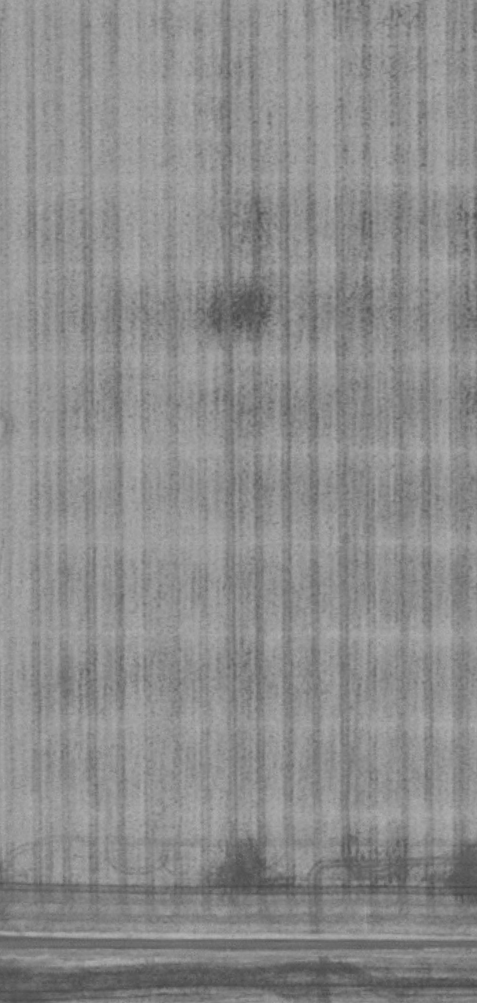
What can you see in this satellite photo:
crop: (238, 461)
road: (238, 942)
crop: (239, 982)

